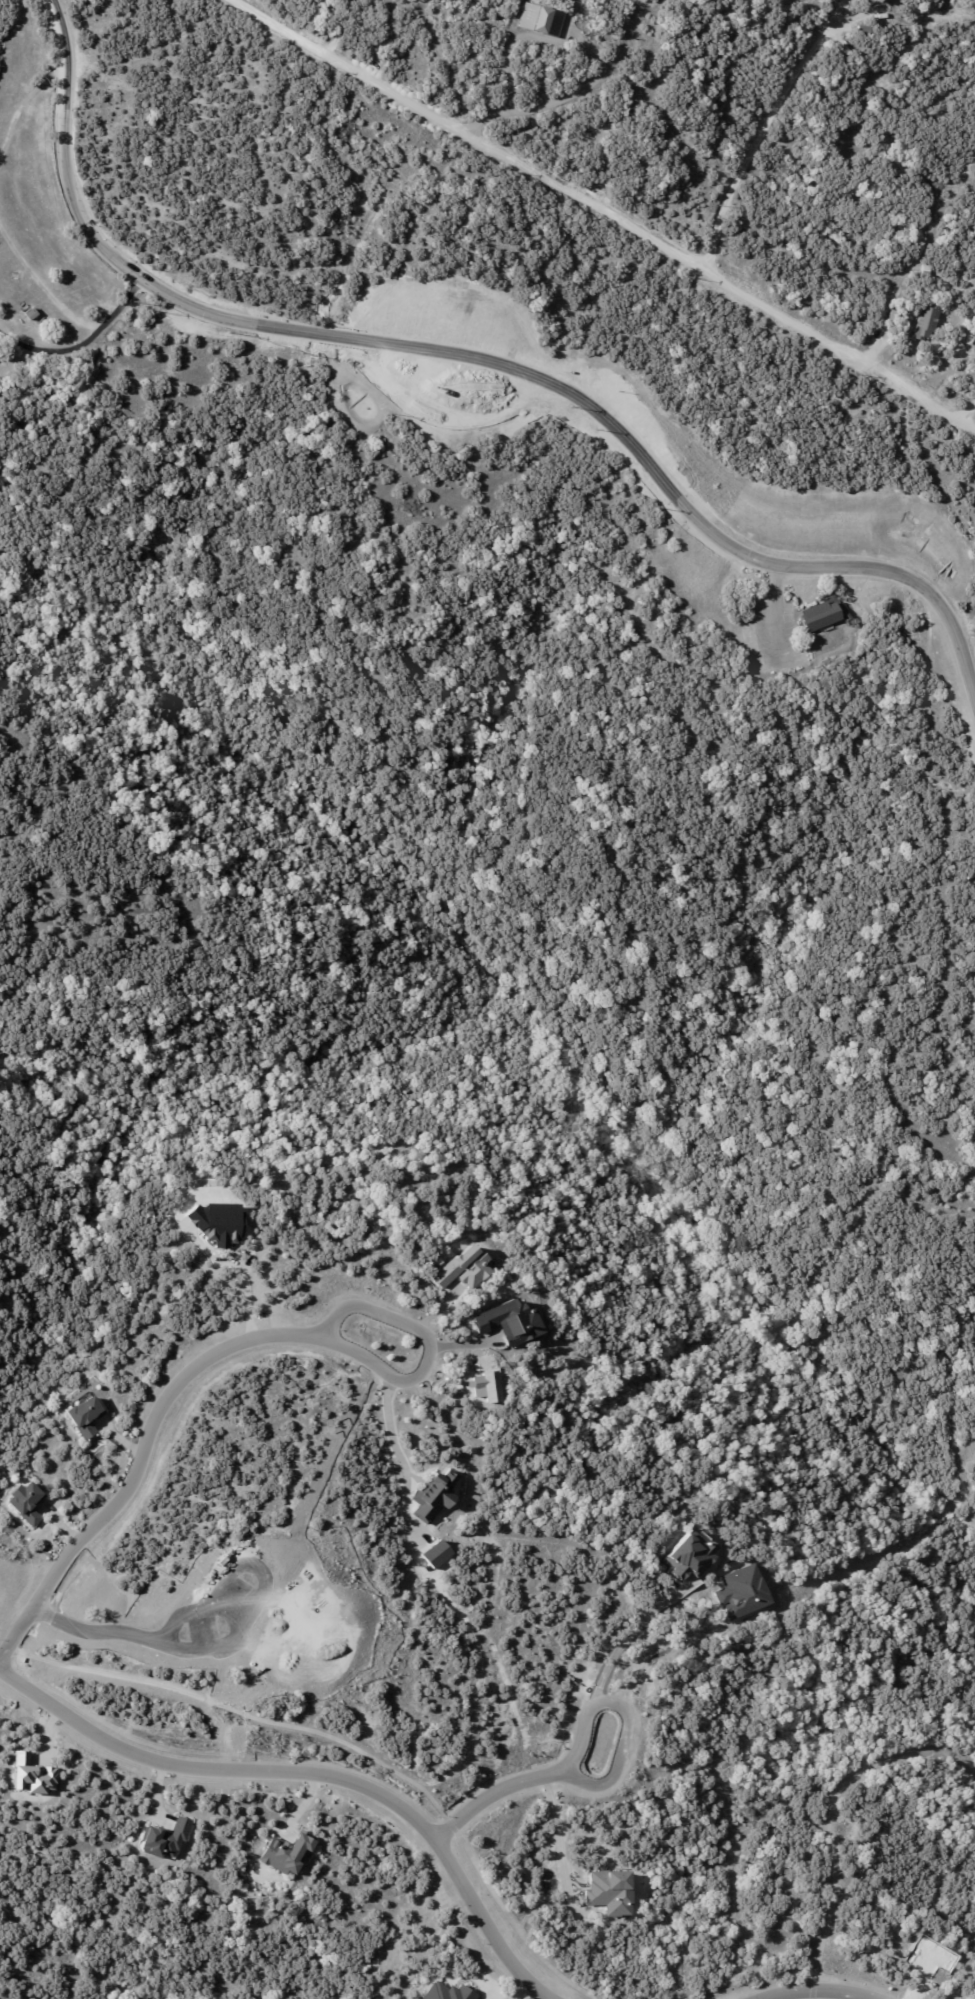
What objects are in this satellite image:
building: (880, 1)
building: (540, 21)
building: (864, 30)
road: (344, 31)
road: (596, 61)
road: (21, 104)
road: (762, 130)
road: (595, 205)
building: (926, 268)
road: (42, 284)
building: (31, 313)
building: (898, 317)
building: (926, 324)
road: (84, 343)
road: (464, 418)
road: (774, 614)
building: (821, 616)
building: (831, 641)
building: (464, 1267)
road: (247, 1287)
building: (510, 1321)
road: (427, 1344)
building: (85, 1416)
road: (389, 1424)
road: (145, 1463)
building: (434, 1495)
building: (25, 1502)
road: (630, 1638)
road: (662, 1655)
building: (32, 1774)
road: (310, 1776)
road: (599, 1786)
road: (556, 1831)
building: (164, 1839)
building: (287, 1852)
building: (447, 1991)
road: (816, 1994)
road: (811, 1996)

